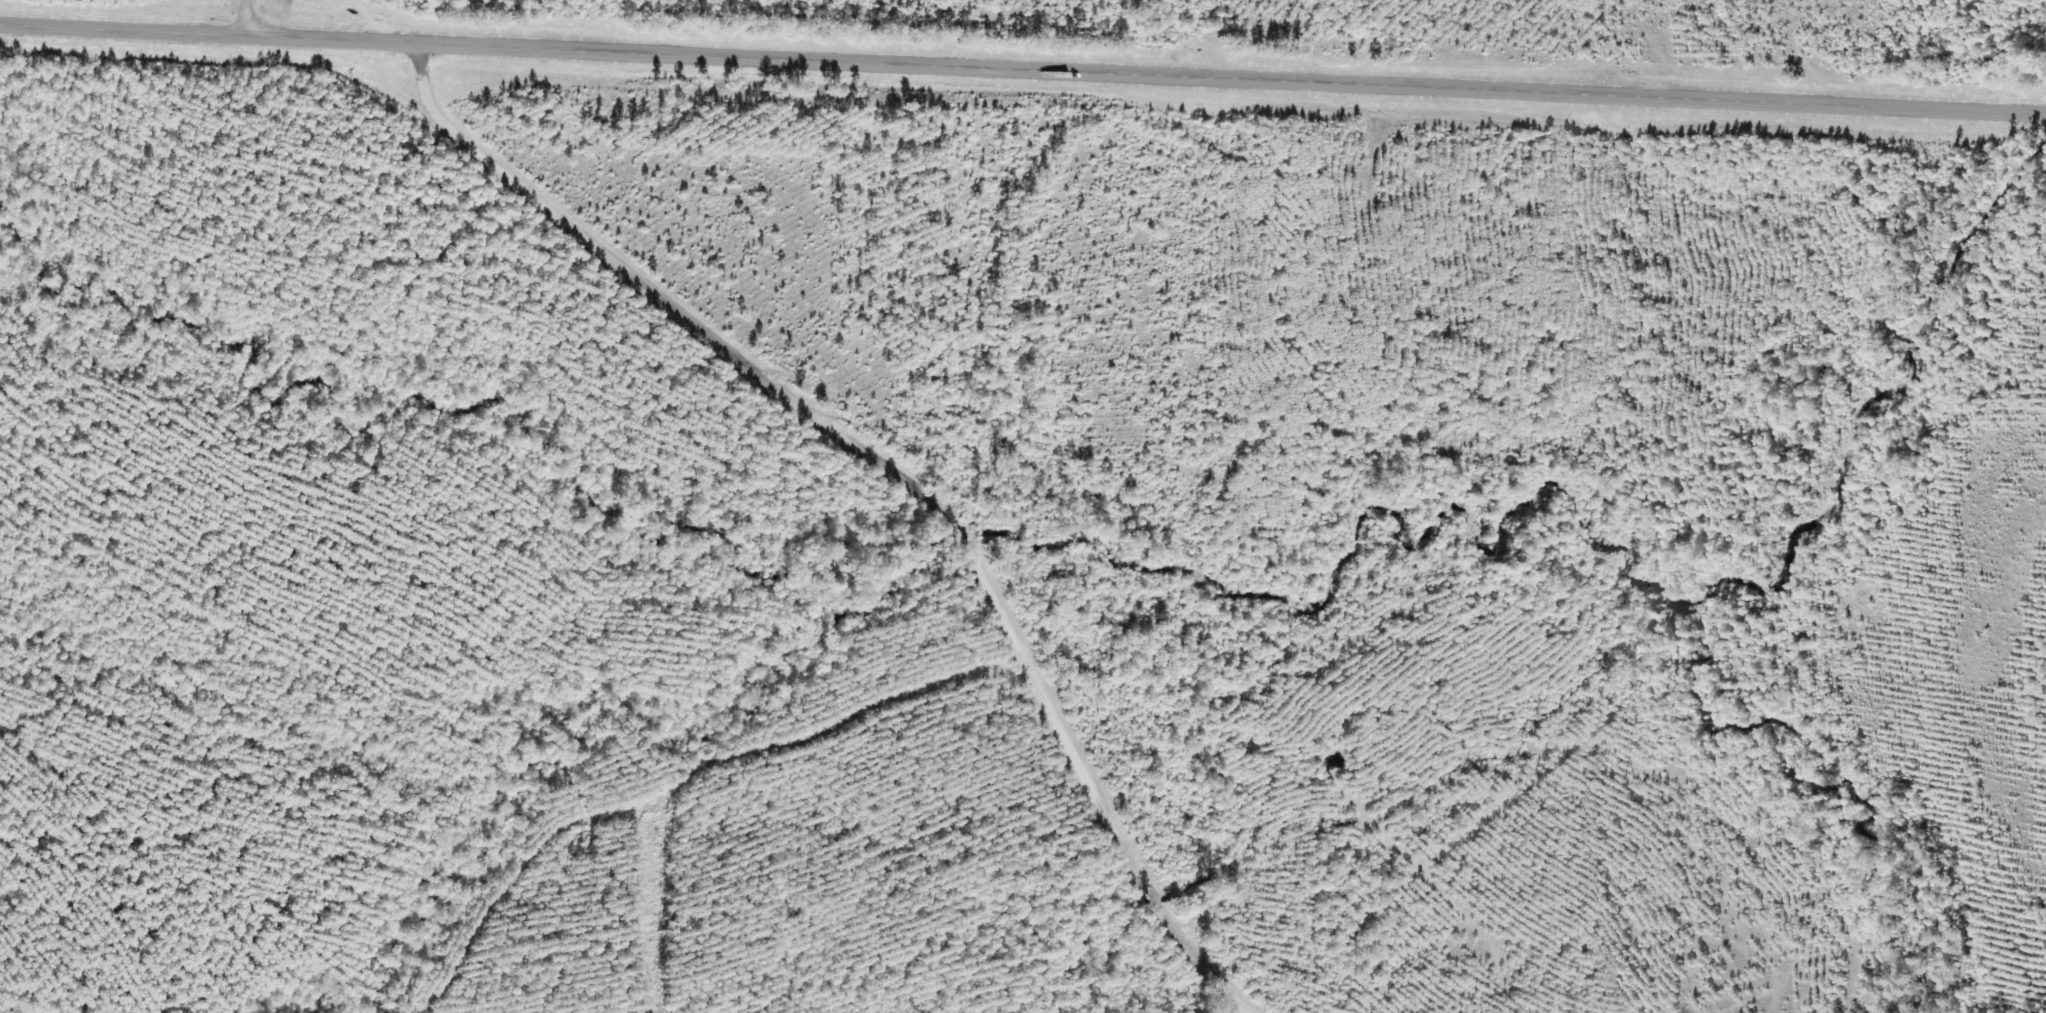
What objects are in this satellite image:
road: (247, 18)
road: (1022, 69)
road: (891, 469)

